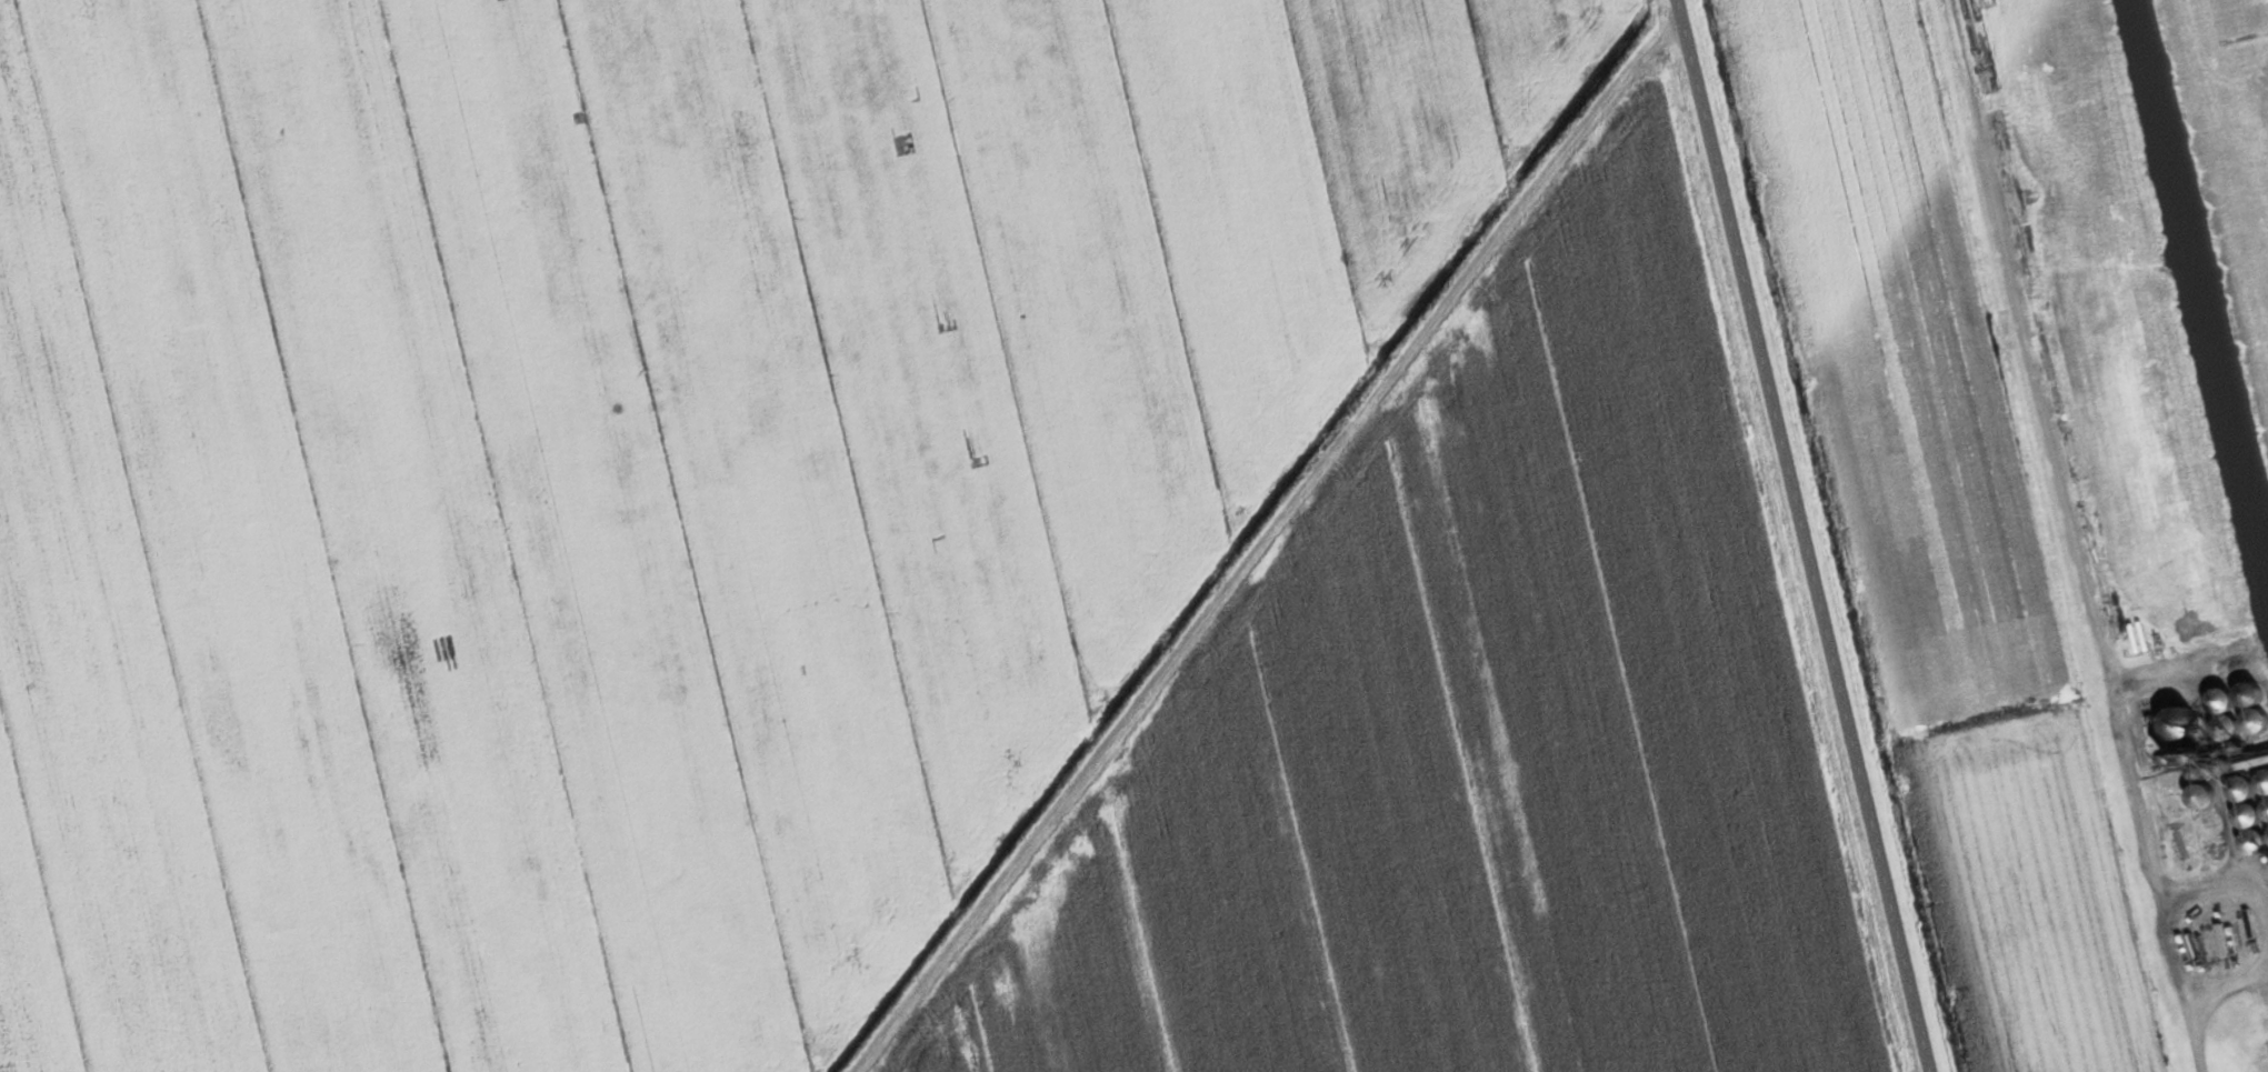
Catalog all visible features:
crop: (637, 475)
road: (2064, 498)
road: (1794, 535)
road: (1257, 543)
building: (2250, 697)
building: (2224, 703)
crop: (1470, 728)
building: (2267, 757)
road: (2262, 961)
road: (2177, 974)
road: (2219, 975)

